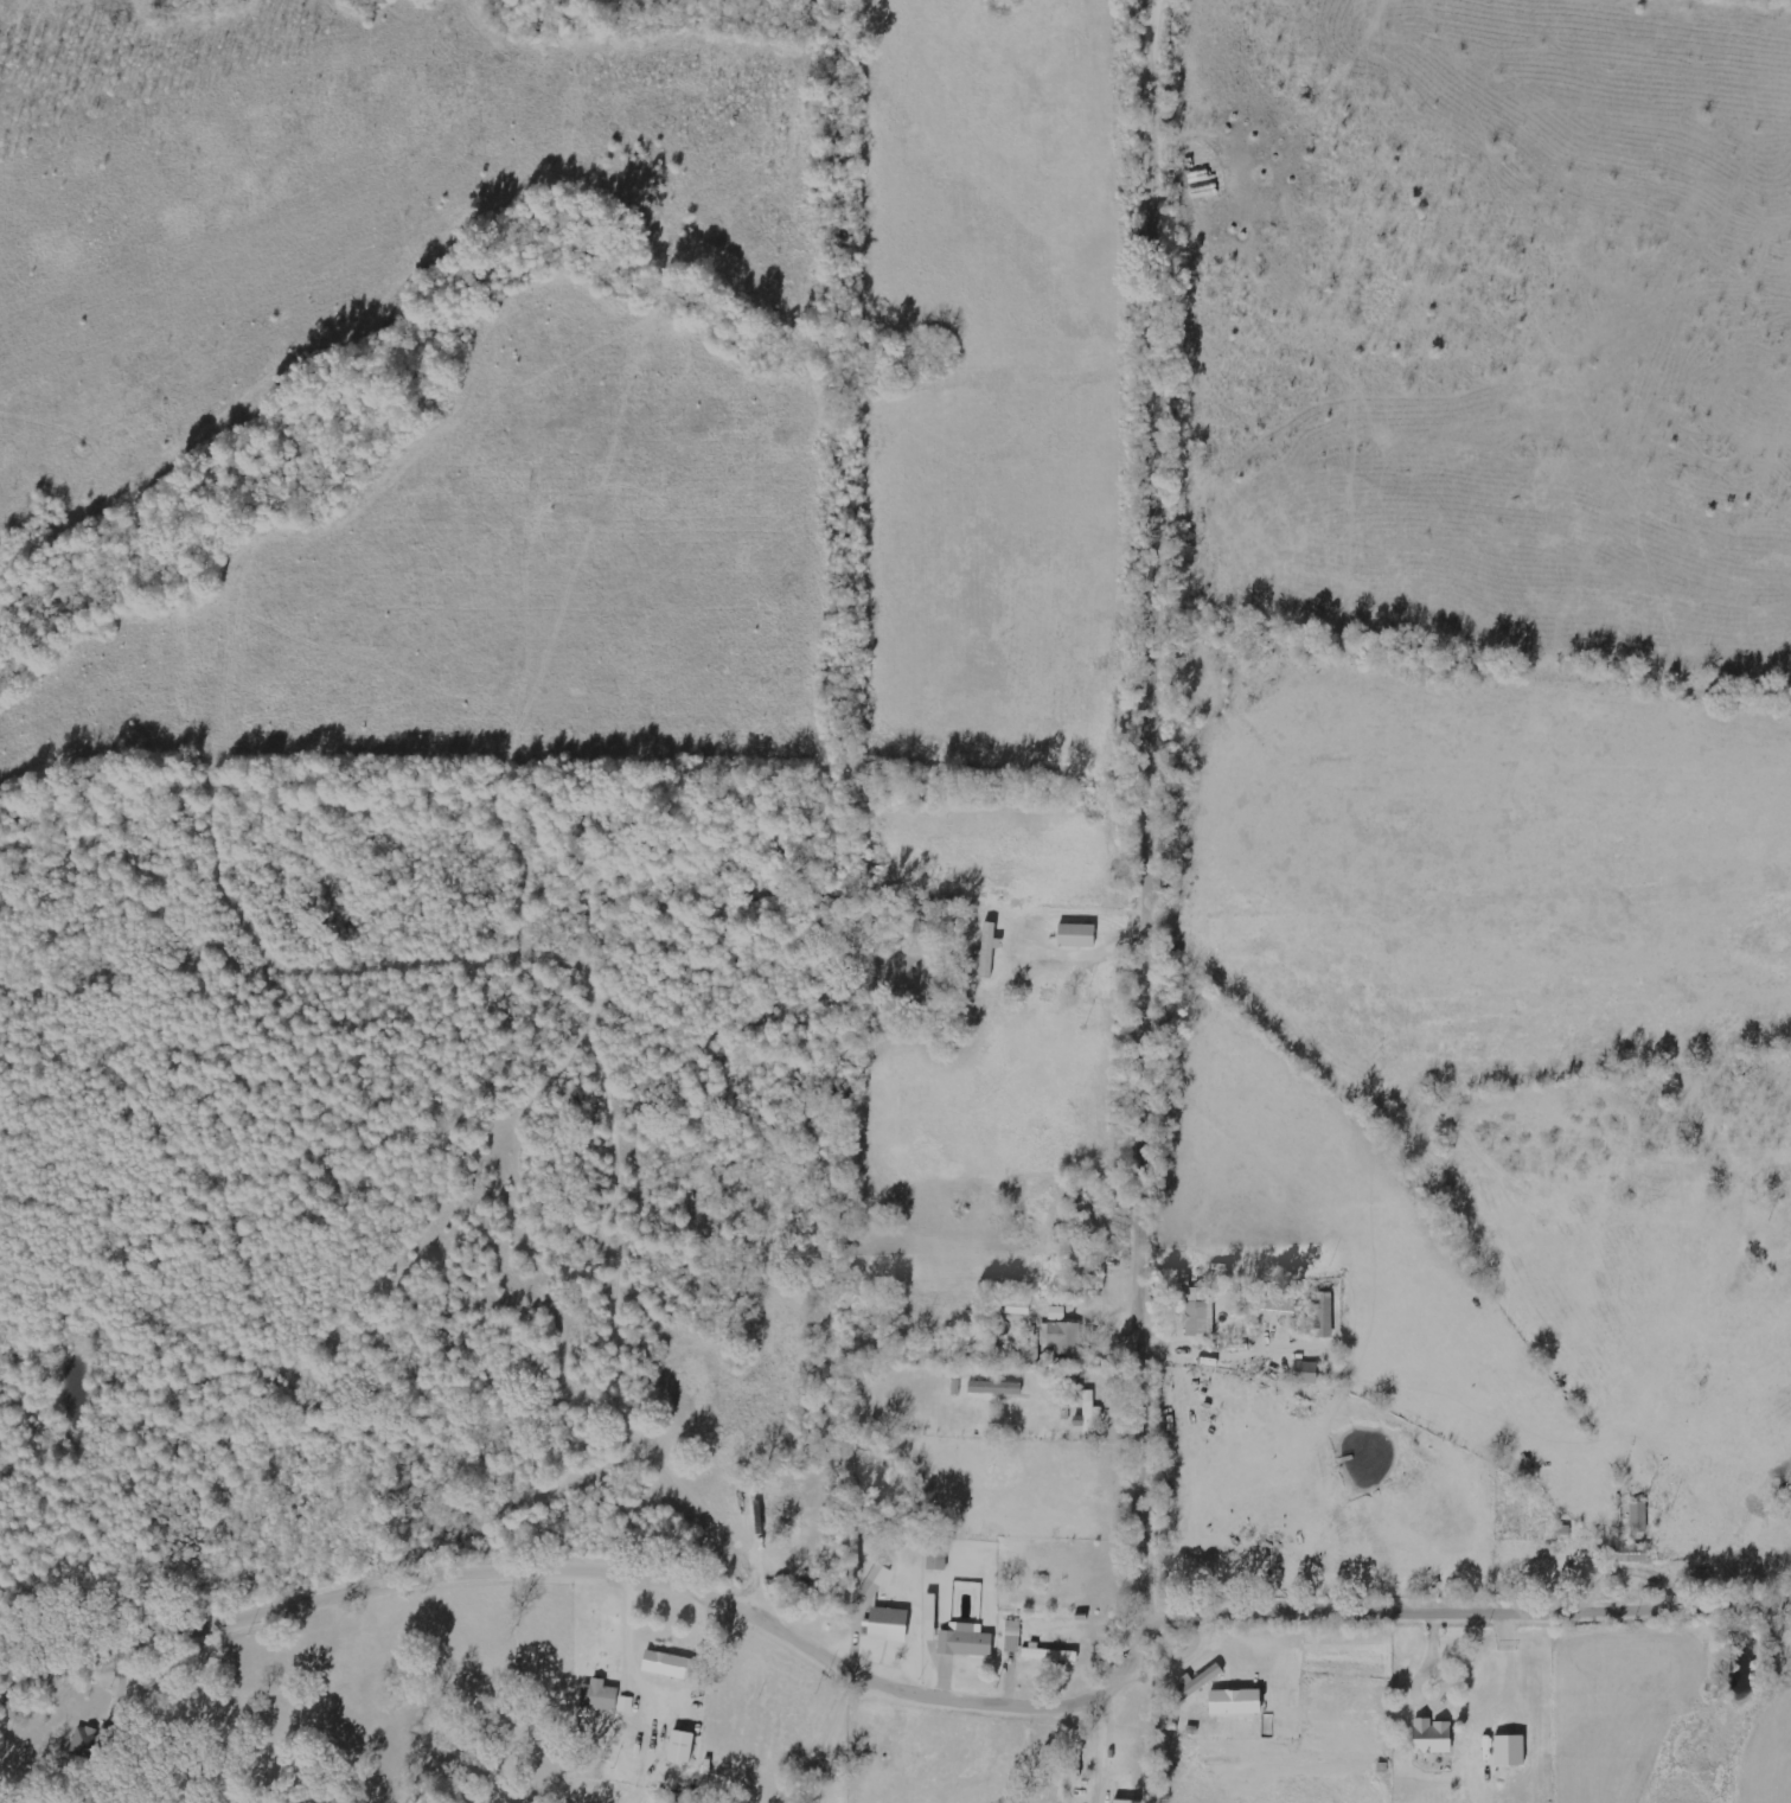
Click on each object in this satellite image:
road: (1158, 819)
building: (1079, 934)
building: (1200, 1313)
building: (1325, 1313)
building: (1061, 1335)
building: (1031, 1349)
building: (1307, 1372)
building: (996, 1387)
building: (1639, 1515)
building: (1631, 1553)
building: (938, 1555)
building: (876, 1579)
building: (889, 1623)
building: (966, 1639)
building: (1050, 1652)
building: (670, 1663)
road: (894, 1692)
building: (599, 1697)
building: (1236, 1700)
building: (626, 1702)
building: (1434, 1735)
building: (682, 1745)
building: (1511, 1748)
building: (1126, 1801)

